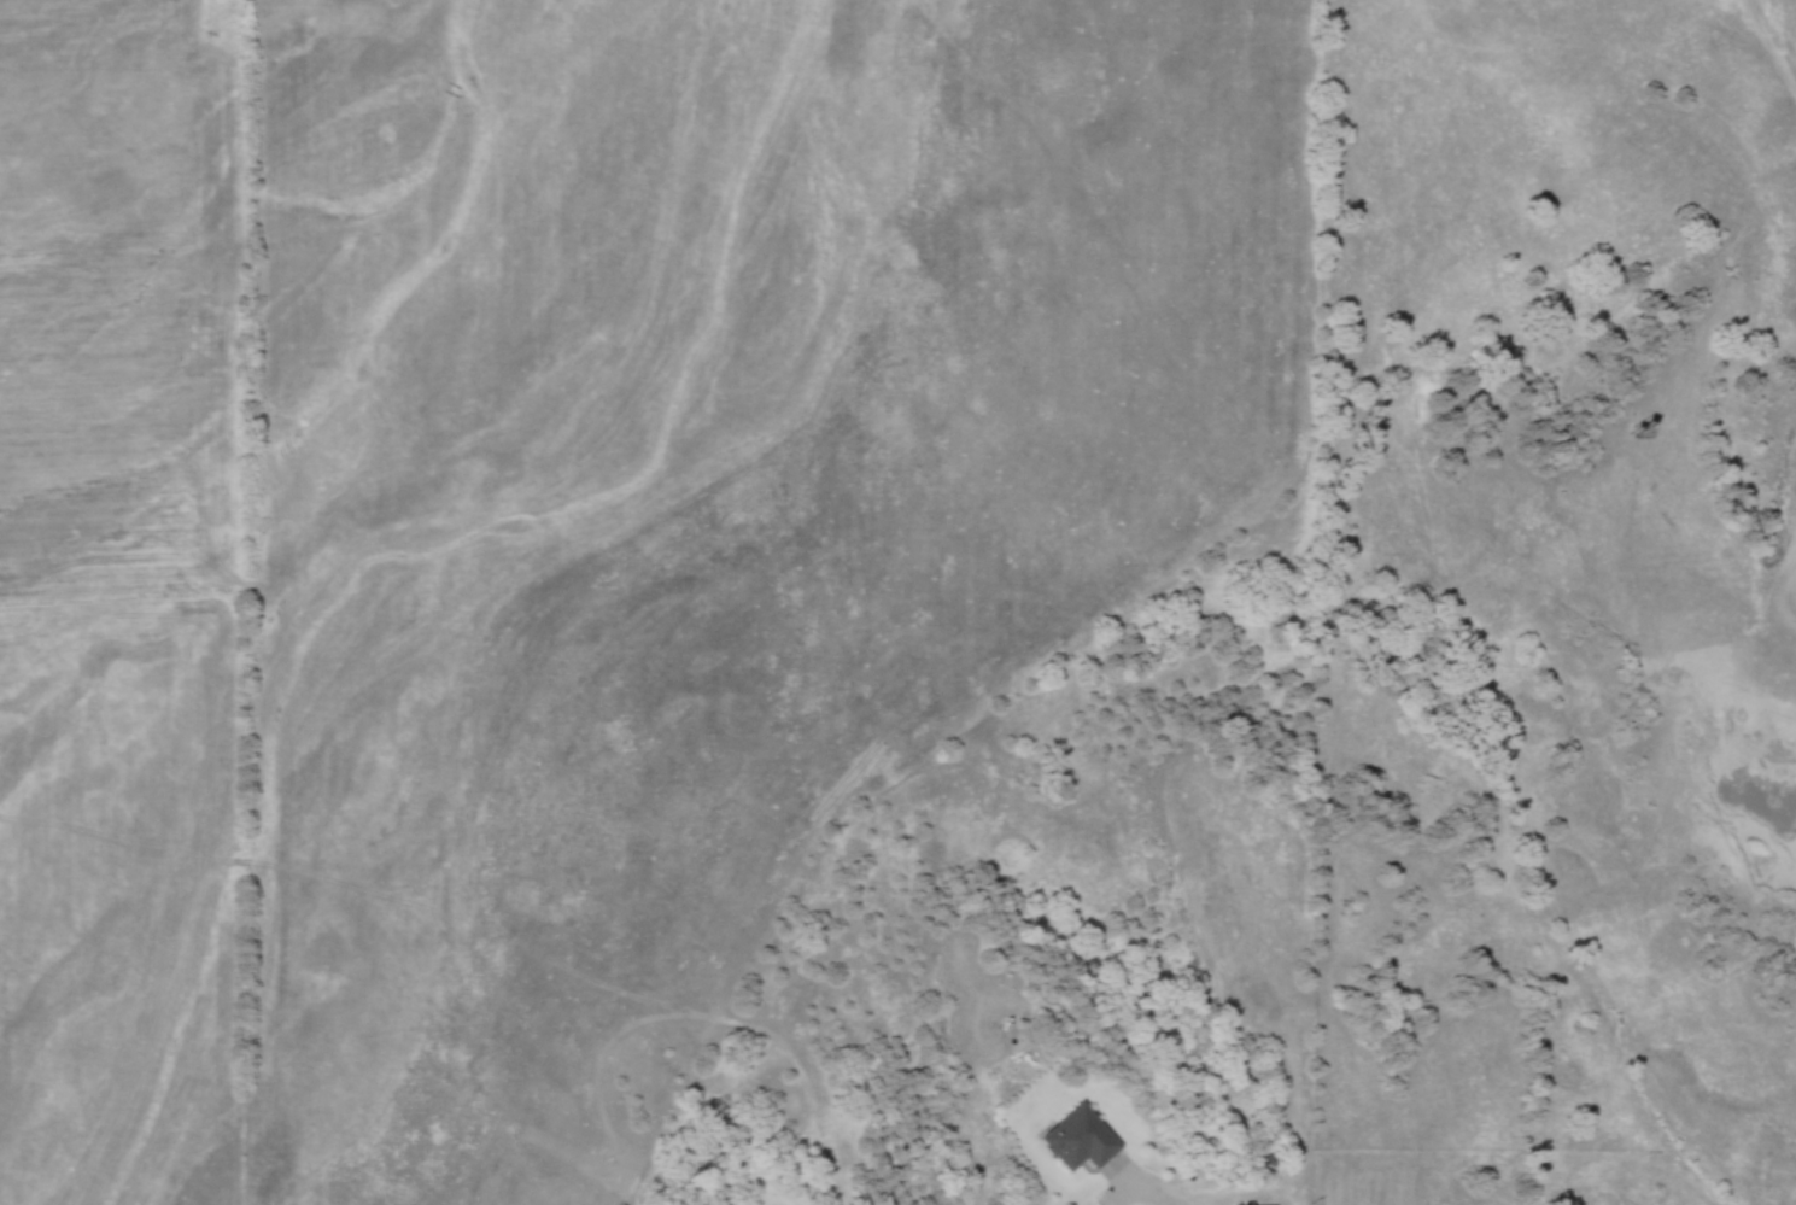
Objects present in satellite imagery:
building: (1083, 1140)

